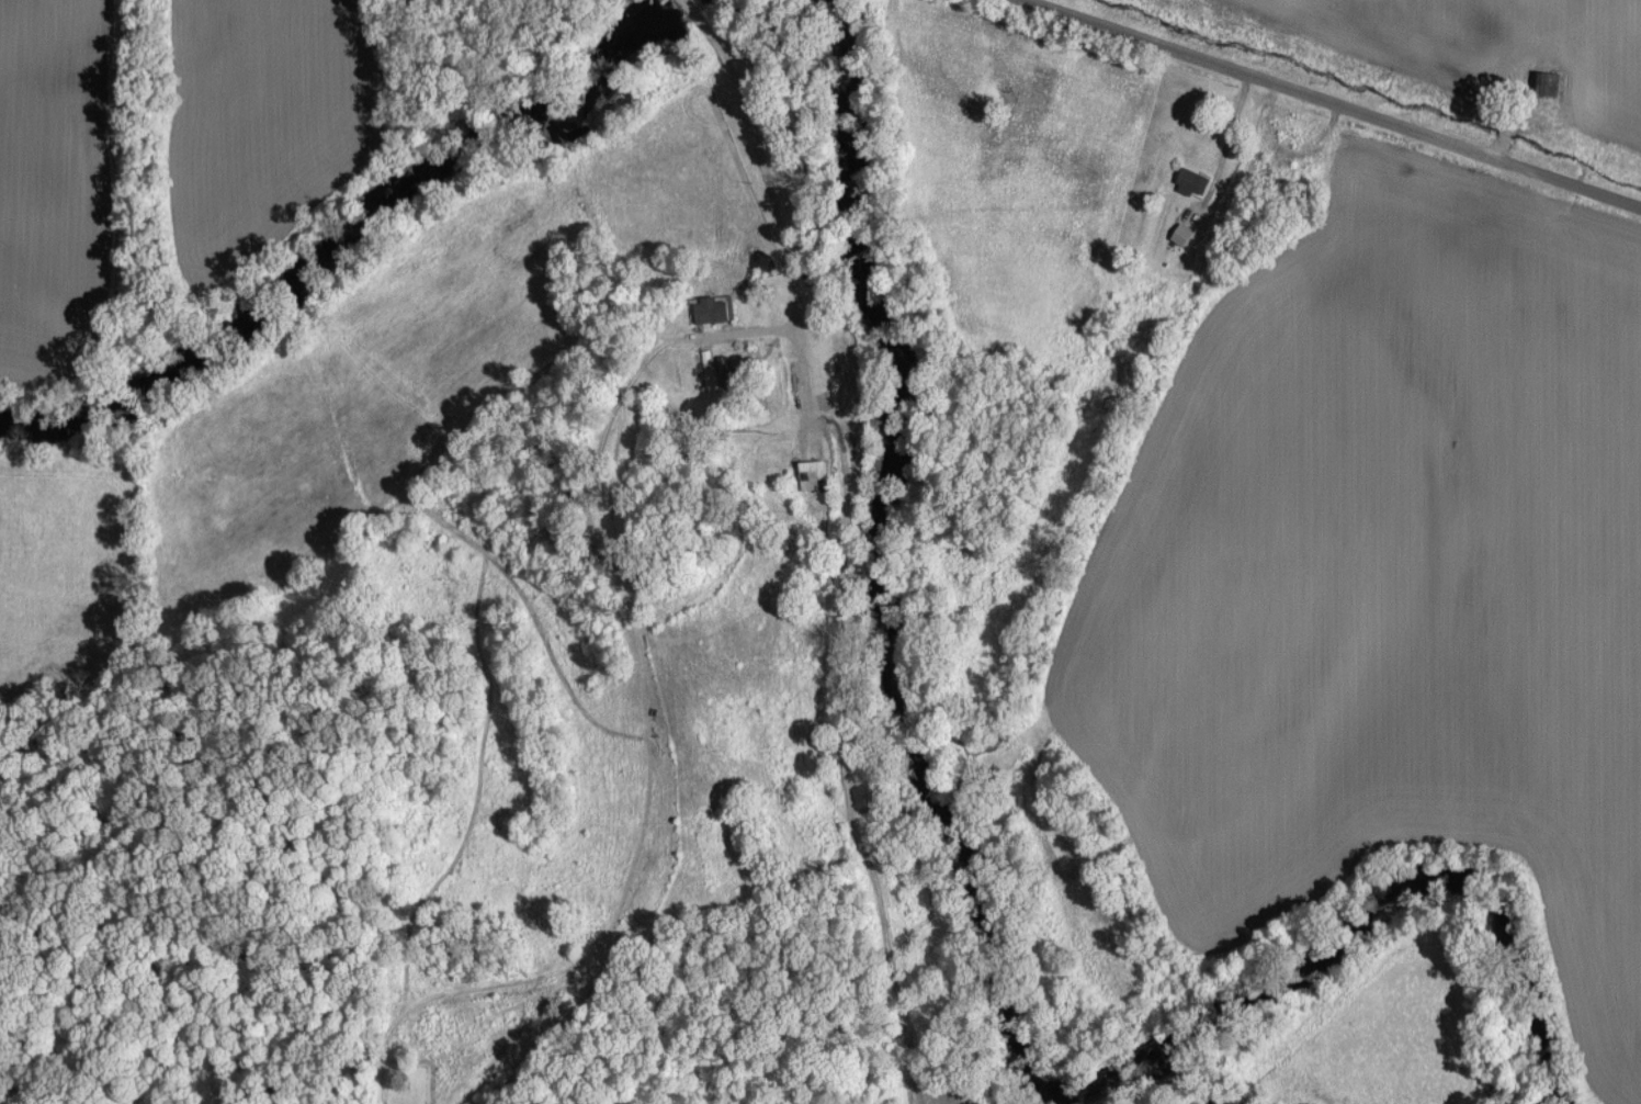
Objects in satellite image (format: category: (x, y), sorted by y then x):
building: (1546, 83)
road: (1336, 103)
building: (1190, 181)
river: (357, 229)
building: (1180, 234)
building: (712, 309)
building: (812, 473)
river: (980, 900)

